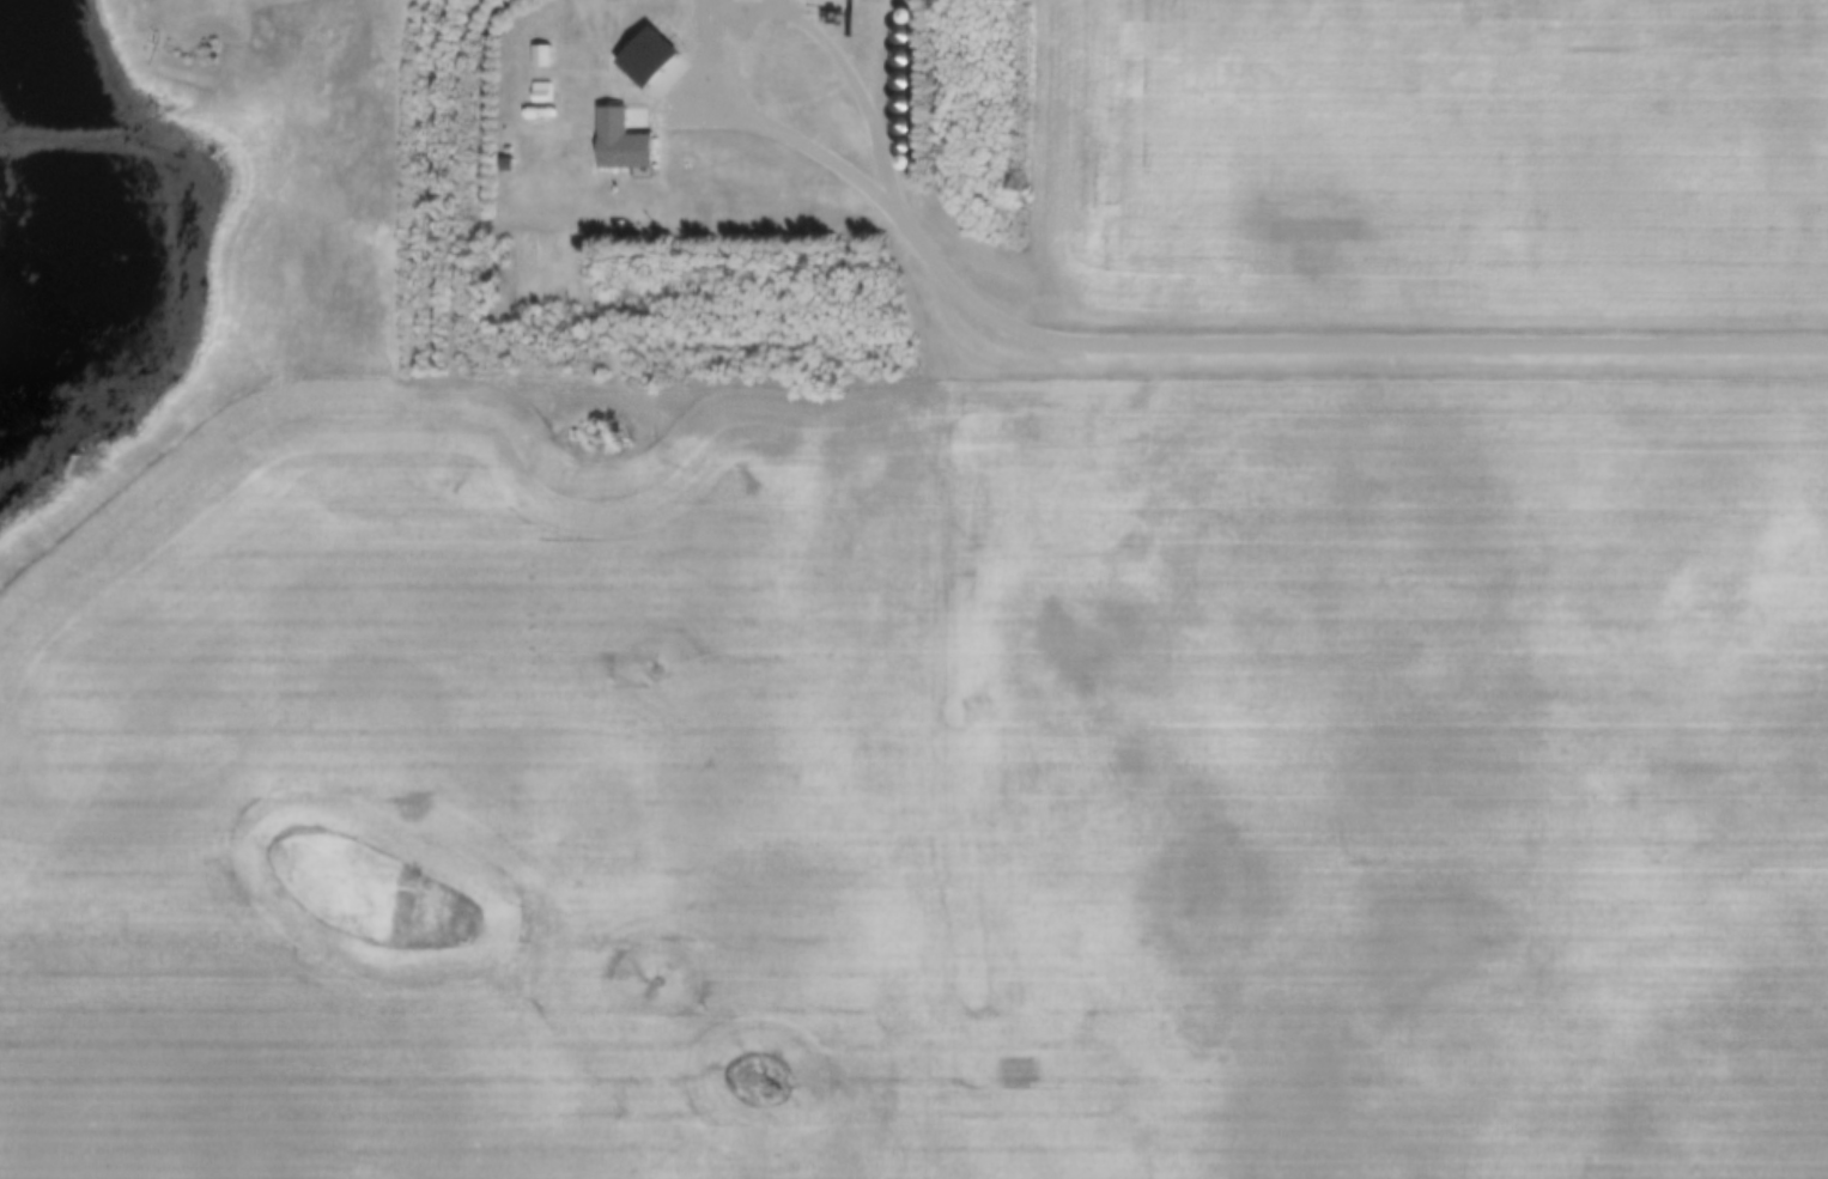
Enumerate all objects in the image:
road: (728, 24)
building: (536, 54)
building: (536, 90)
building: (615, 140)
road: (1352, 342)

